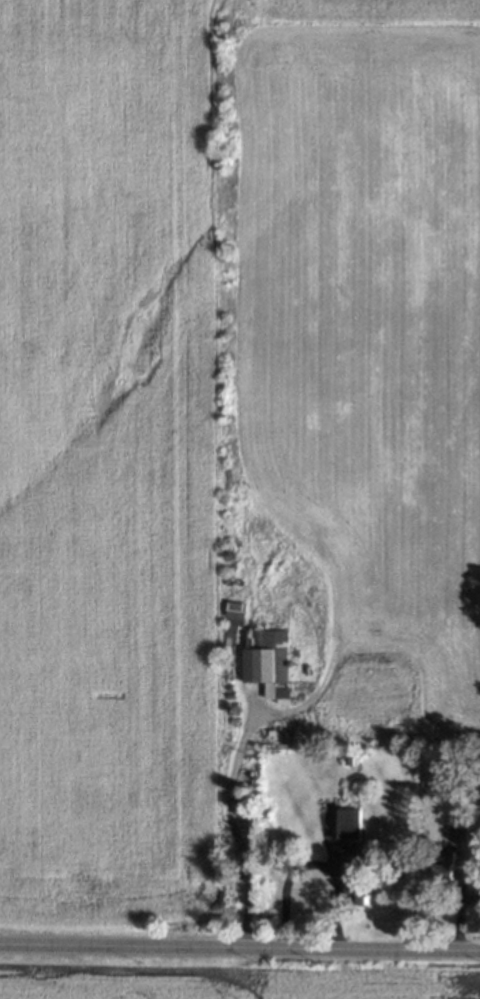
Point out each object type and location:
crop: (115, 454)
building: (231, 618)
building: (263, 657)
building: (476, 764)
building: (240, 791)
building: (240, 804)
building: (342, 819)
road: (232, 826)
building: (453, 826)
building: (360, 863)
road: (310, 864)
building: (441, 867)
building: (357, 887)
road: (239, 945)
crop: (231, 982)

